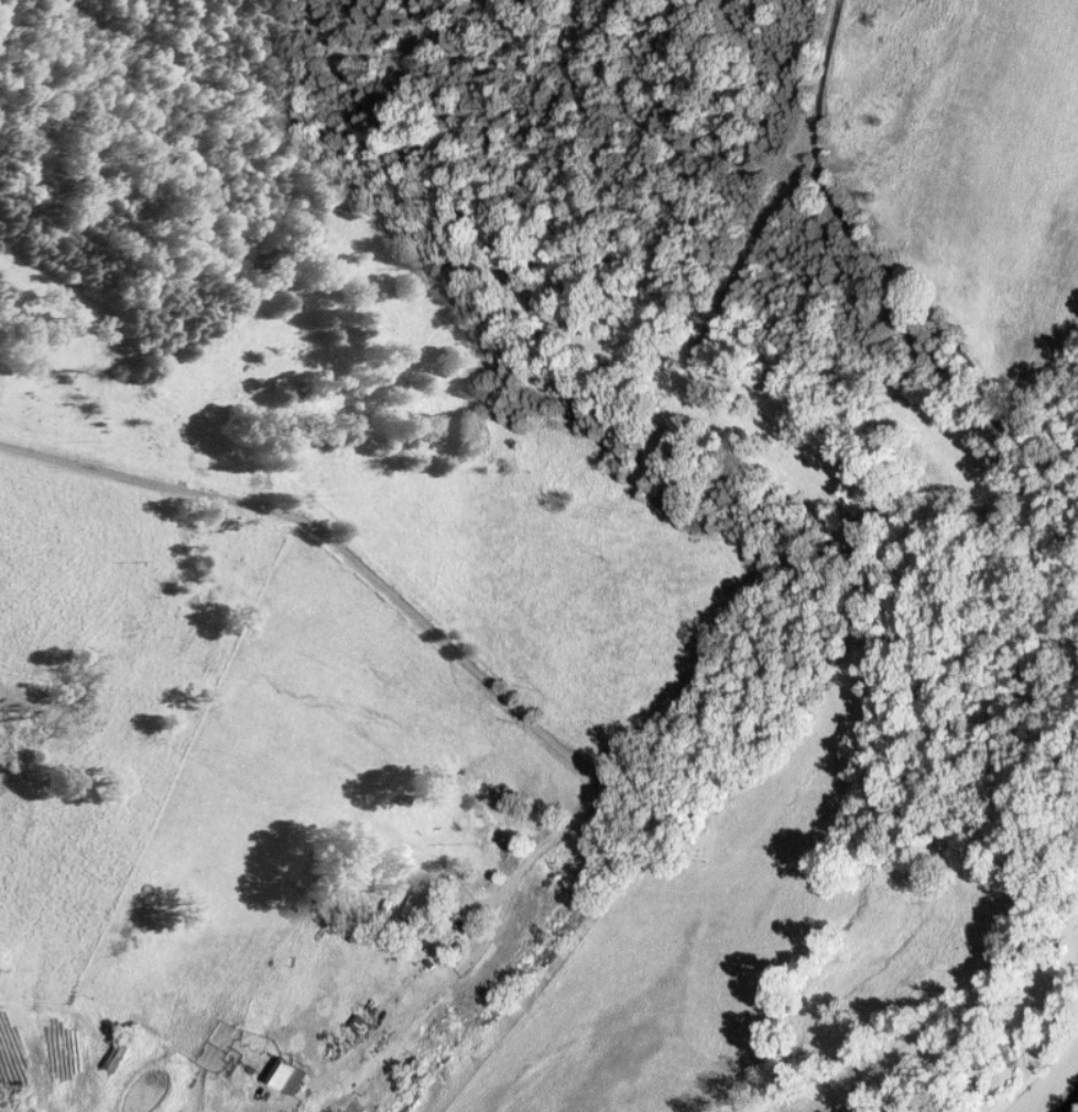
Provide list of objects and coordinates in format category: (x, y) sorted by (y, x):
road: (1026, 478)
road: (514, 705)
building: (421, 902)

